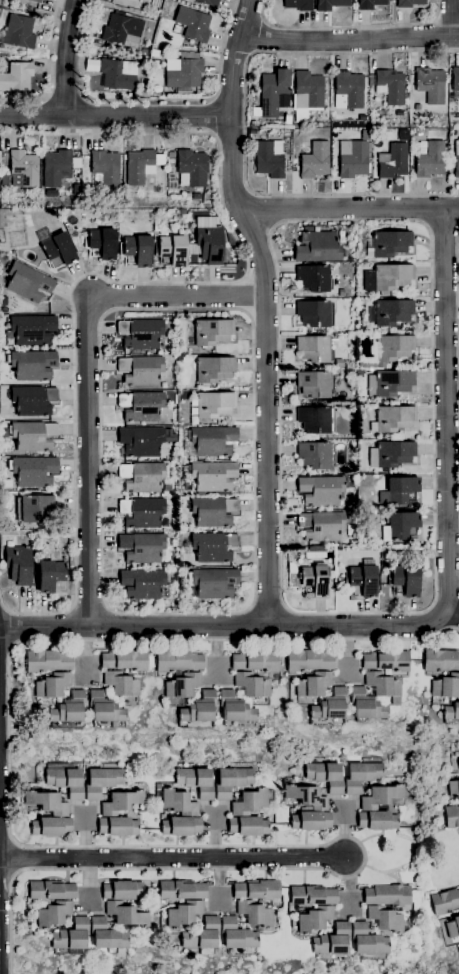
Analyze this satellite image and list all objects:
building: (37, 1)
building: (206, 2)
building: (409, 3)
building: (298, 4)
building: (331, 4)
building: (369, 4)
road: (451, 19)
building: (193, 24)
road: (347, 26)
building: (122, 30)
building: (18, 32)
road: (349, 41)
building: (154, 53)
road: (67, 58)
road: (49, 70)
building: (184, 71)
building: (115, 72)
building: (16, 77)
building: (455, 81)
building: (430, 85)
building: (390, 86)
building: (349, 90)
building: (273, 91)
building: (307, 94)
road: (85, 97)
road: (46, 98)
road: (65, 99)
road: (151, 100)
road: (211, 100)
building: (382, 113)
building: (288, 116)
road: (115, 117)
road: (212, 117)
road: (245, 123)
building: (367, 130)
building: (251, 131)
building: (456, 132)
road: (211, 133)
building: (272, 154)
building: (2, 155)
building: (170, 155)
building: (352, 159)
building: (456, 159)
building: (169, 160)
building: (315, 160)
building: (430, 160)
building: (393, 161)
building: (141, 166)
building: (58, 167)
building: (106, 167)
building: (191, 168)
building: (23, 169)
road: (349, 208)
building: (180, 211)
building: (101, 243)
building: (209, 243)
building: (390, 243)
building: (316, 247)
building: (58, 250)
building: (172, 250)
building: (136, 251)
building: (391, 277)
building: (314, 278)
building: (28, 282)
road: (135, 283)
road: (267, 308)
building: (392, 312)
building: (314, 313)
building: (32, 330)
building: (211, 332)
building: (141, 334)
building: (315, 349)
building: (389, 351)
building: (31, 365)
building: (214, 369)
building: (141, 370)
road: (88, 372)
building: (390, 383)
building: (315, 384)
building: (33, 400)
building: (214, 404)
building: (141, 406)
building: (366, 406)
road: (446, 412)
building: (315, 419)
building: (393, 419)
building: (33, 436)
building: (141, 441)
building: (213, 441)
building: (391, 454)
building: (316, 455)
building: (350, 468)
building: (34, 471)
building: (212, 476)
building: (142, 477)
building: (401, 489)
building: (321, 490)
building: (34, 508)
building: (213, 511)
building: (142, 513)
building: (164, 521)
building: (321, 526)
building: (399, 526)
building: (142, 547)
building: (213, 547)
building: (317, 548)
building: (19, 564)
building: (50, 576)
building: (363, 579)
building: (315, 580)
building: (405, 581)
building: (213, 582)
building: (143, 583)
road: (434, 590)
road: (254, 593)
road: (446, 600)
road: (1, 604)
road: (267, 604)
road: (88, 606)
road: (449, 616)
road: (251, 624)
road: (287, 624)
road: (220, 626)
road: (413, 626)
road: (60, 627)
road: (119, 627)
road: (13, 628)
road: (4, 659)
building: (125, 660)
building: (177, 660)
building: (441, 660)
building: (47, 661)
building: (308, 661)
building: (386, 661)
building: (255, 662)
building: (121, 684)
building: (313, 684)
building: (51, 685)
building: (251, 685)
building: (382, 685)
building: (445, 686)
building: (182, 687)
building: (330, 705)
building: (365, 705)
building: (199, 708)
building: (235, 708)
building: (68, 709)
building: (104, 709)
building: (451, 711)
building: (326, 776)
building: (361, 776)
building: (102, 781)
building: (232, 781)
building: (66, 782)
building: (196, 782)
building: (453, 789)
building: (307, 797)
building: (382, 797)
building: (250, 802)
building: (46, 803)
building: (121, 803)
building: (179, 803)
building: (451, 816)
building: (310, 821)
building: (377, 821)
building: (51, 826)
building: (118, 826)
building: (181, 826)
building: (248, 826)
road: (6, 836)
road: (105, 846)
road: (171, 857)
road: (6, 877)
road: (348, 884)
building: (50, 890)
building: (121, 890)
building: (181, 890)
building: (257, 890)
building: (312, 895)
building: (387, 895)
building: (444, 902)
building: (458, 910)
building: (255, 913)
building: (53, 914)
building: (126, 914)
building: (184, 914)
building: (314, 919)
building: (385, 919)
building: (452, 927)
building: (71, 935)
building: (106, 935)
building: (202, 935)
building: (236, 935)
building: (332, 940)
building: (368, 941)

